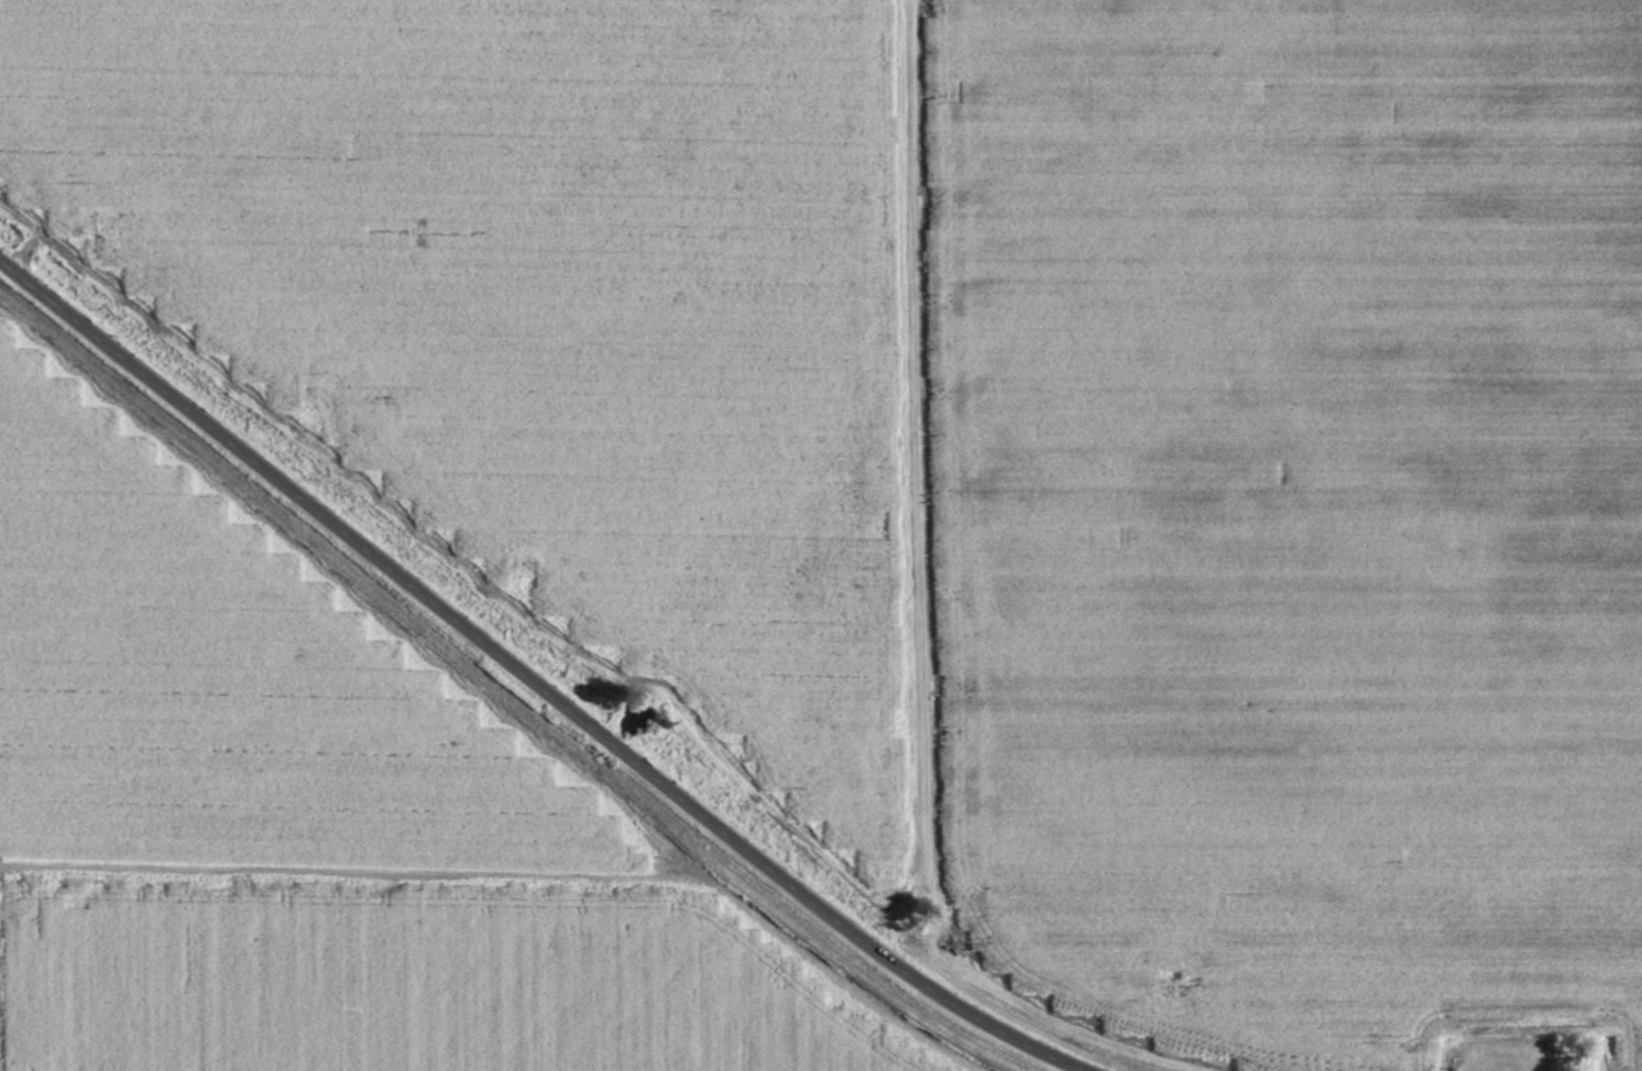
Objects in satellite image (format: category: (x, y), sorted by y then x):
road: (534, 682)

